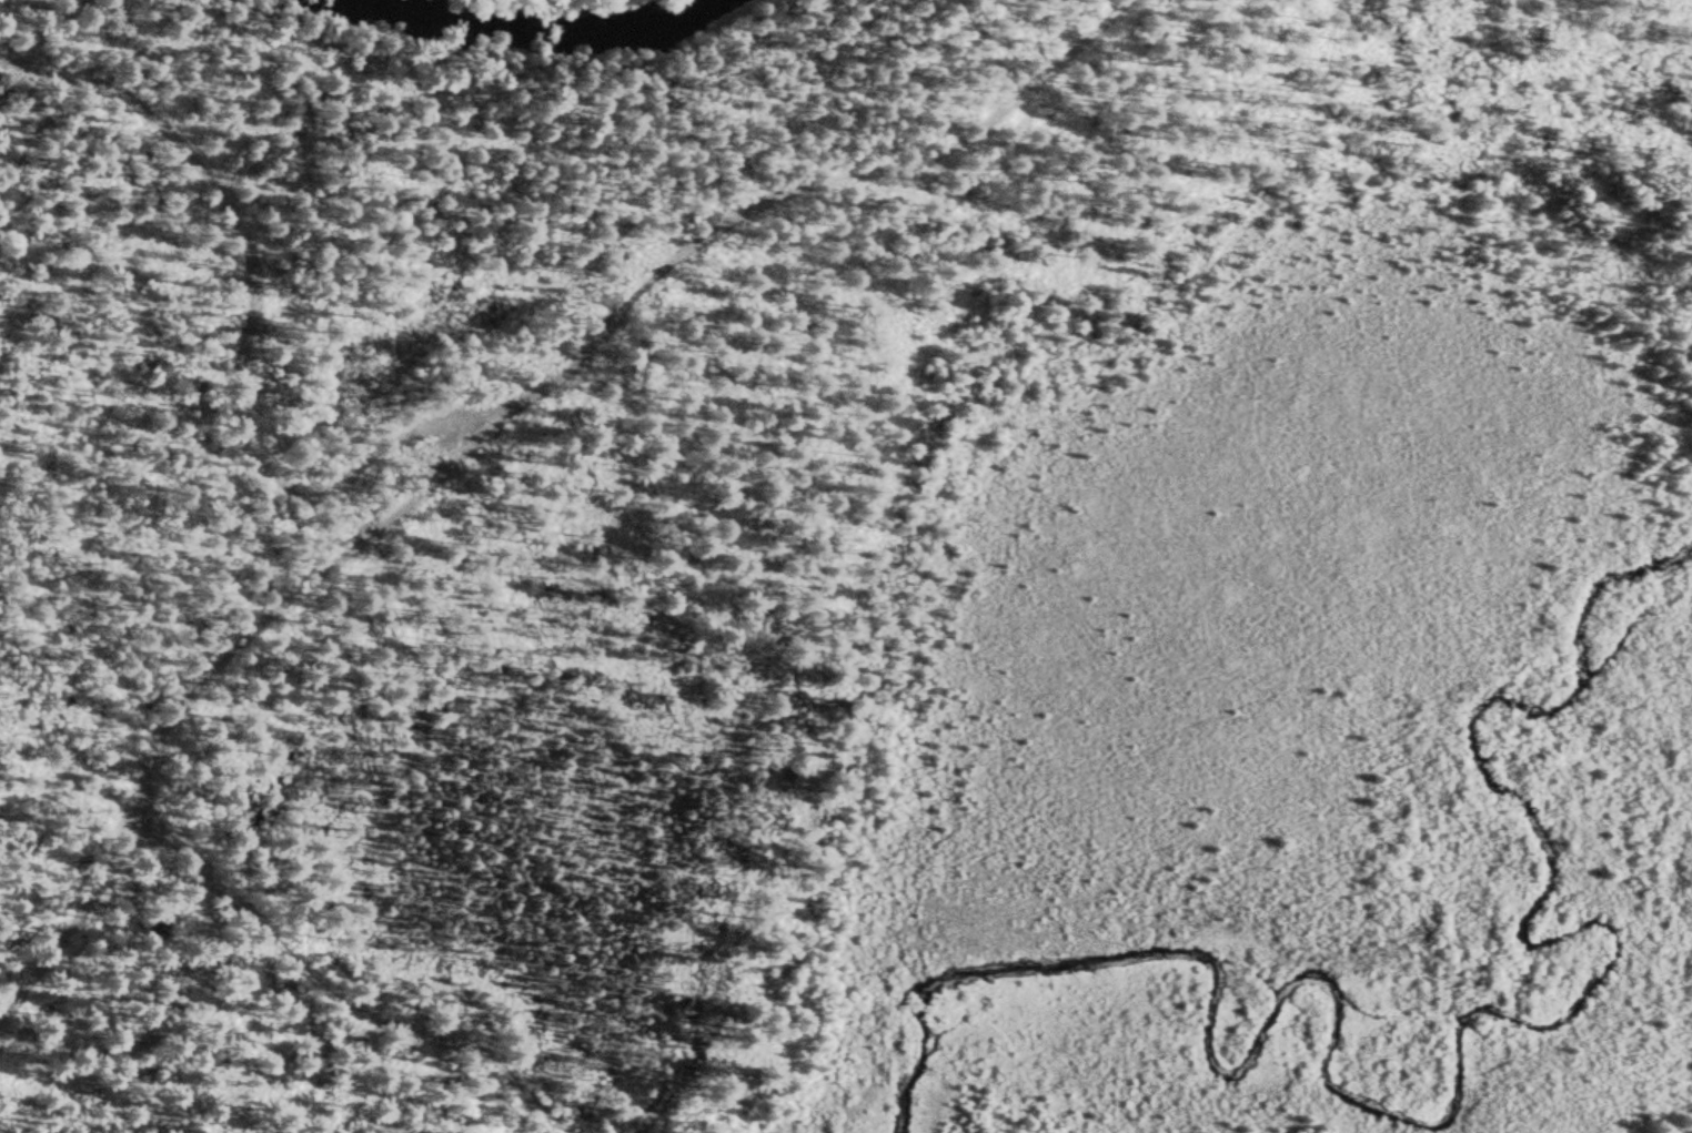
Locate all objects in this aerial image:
river: (541, 21)

